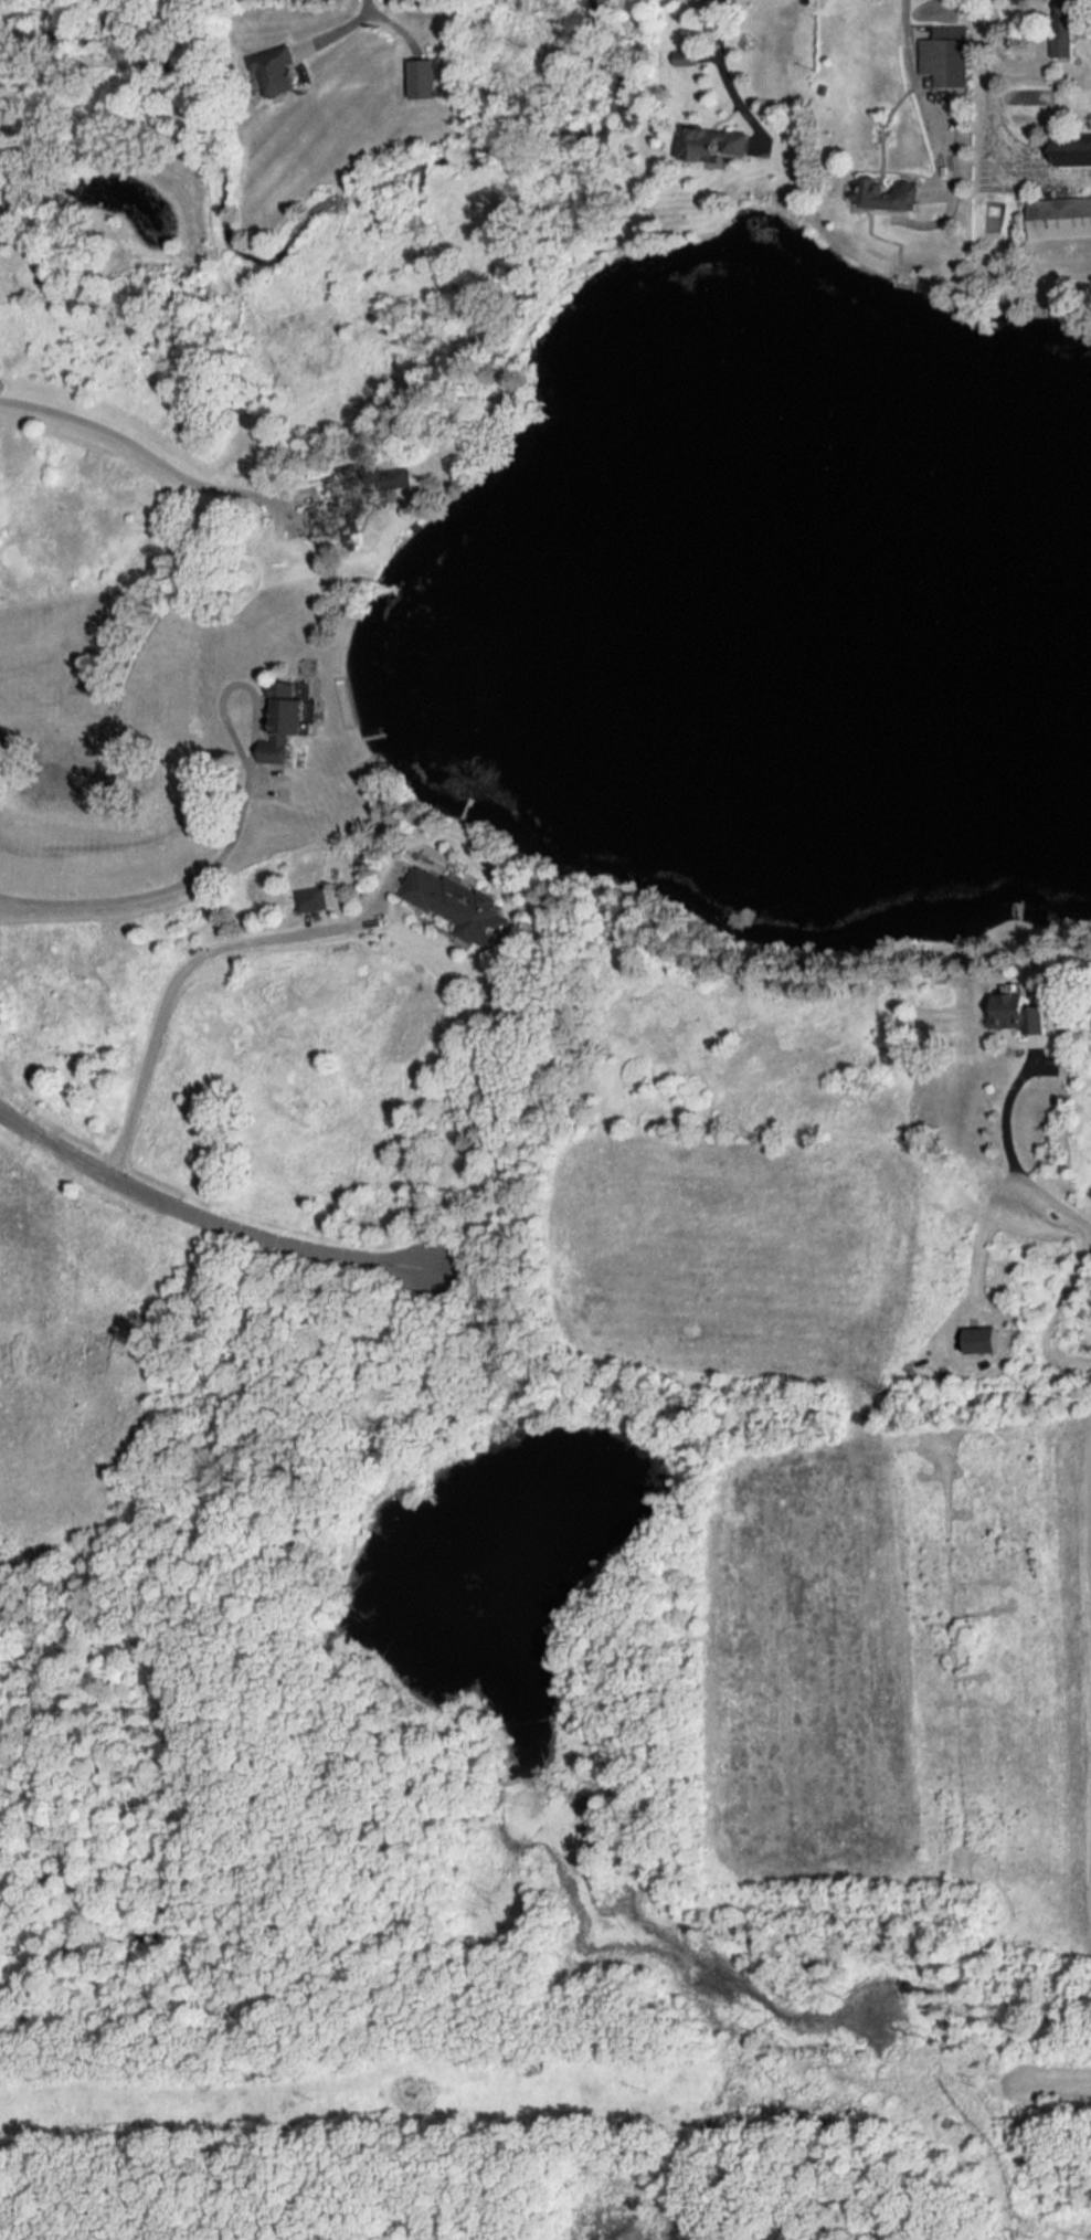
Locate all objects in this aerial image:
building: (1071, 24)
road: (335, 25)
building: (690, 55)
building: (947, 55)
building: (277, 70)
road: (727, 76)
building: (425, 77)
road: (912, 78)
road: (998, 119)
building: (717, 142)
building: (1076, 151)
building: (891, 193)
building: (1062, 216)
road: (142, 442)
building: (353, 499)
building: (287, 720)
road: (159, 888)
building: (459, 906)
road: (197, 959)
building: (1016, 1011)
road: (1024, 1150)
road: (205, 1214)
road: (987, 1229)
building: (983, 1340)

